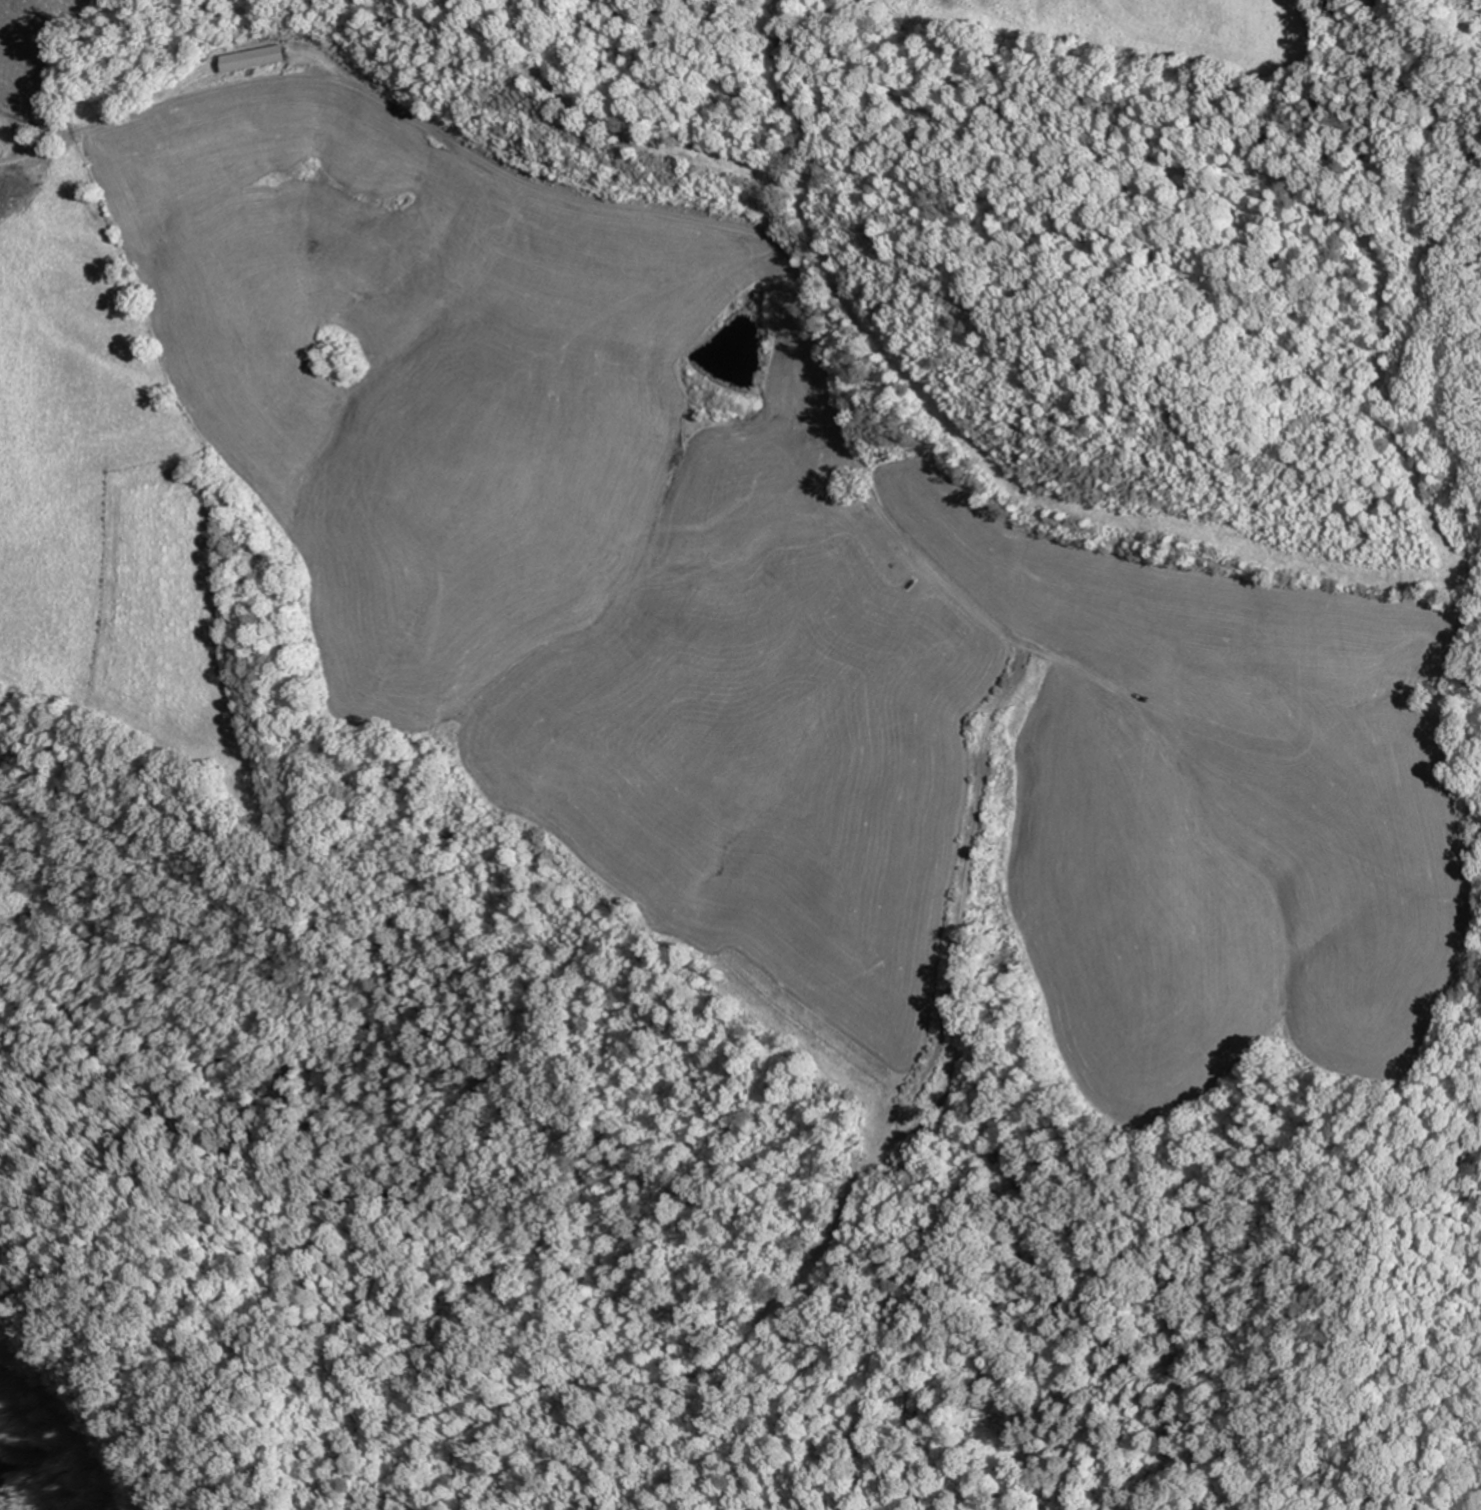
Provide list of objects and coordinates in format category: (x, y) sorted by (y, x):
building: (250, 60)

